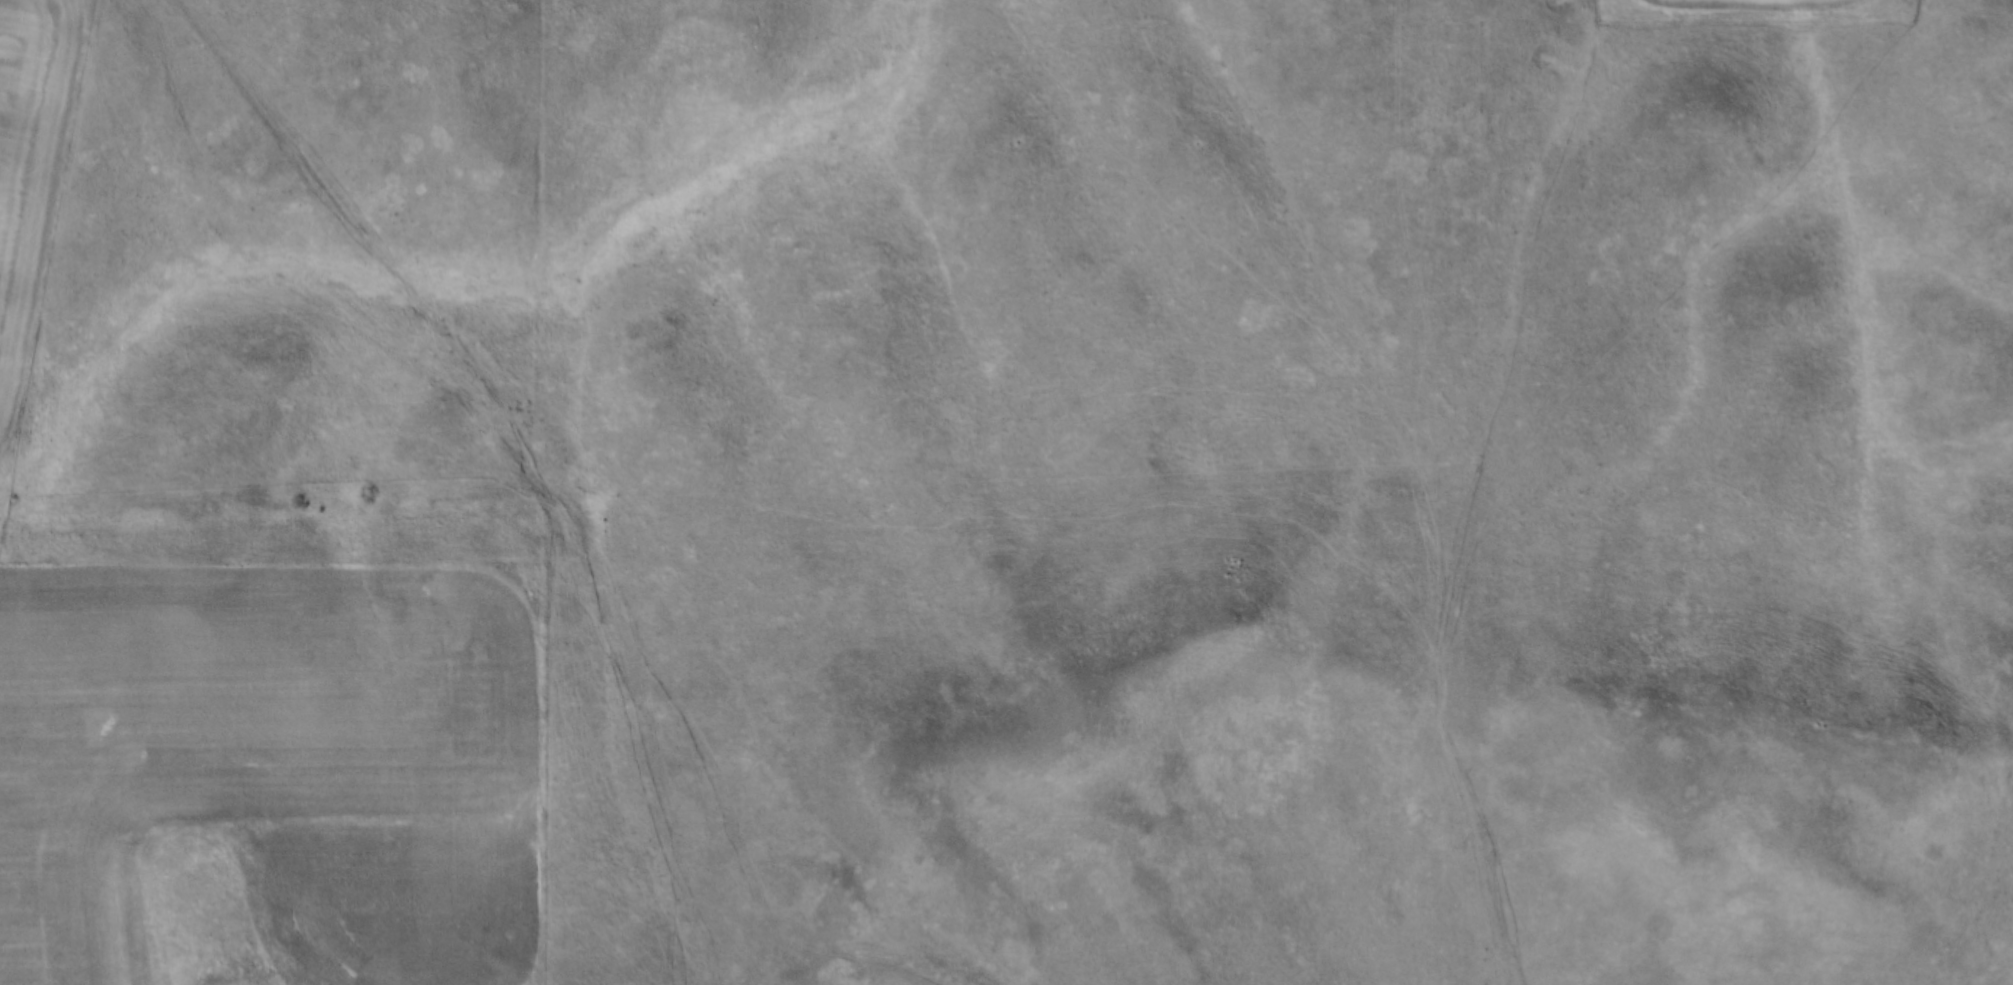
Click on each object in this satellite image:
road: (1528, 424)
road: (525, 455)

